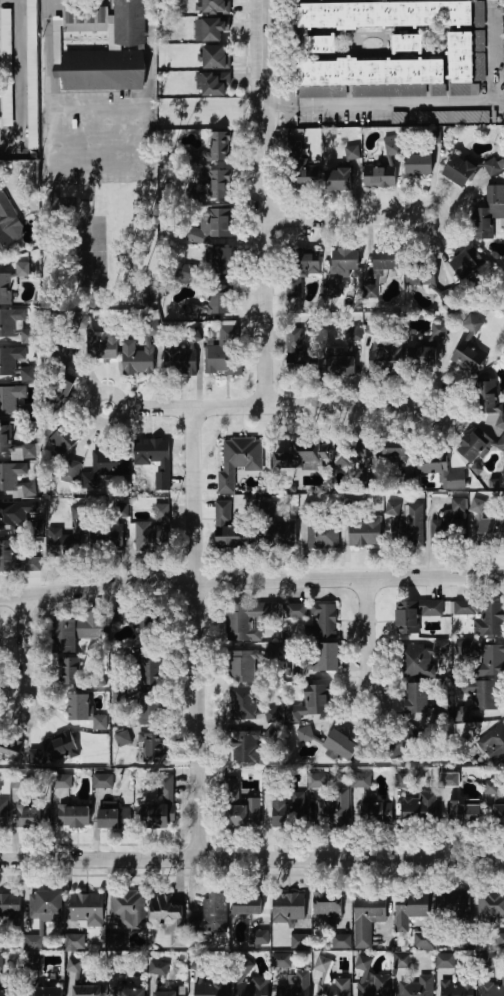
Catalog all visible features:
road: (19, 1)
building: (216, 7)
building: (68, 14)
building: (78, 14)
building: (90, 14)
building: (100, 14)
building: (388, 14)
building: (129, 22)
building: (215, 29)
building: (320, 44)
building: (216, 57)
building: (464, 64)
building: (7, 67)
building: (104, 70)
building: (32, 74)
building: (375, 74)
road: (21, 82)
building: (214, 83)
road: (422, 105)
road: (98, 109)
building: (457, 116)
building: (400, 117)
building: (296, 135)
building: (222, 150)
building: (298, 150)
building: (353, 152)
building: (420, 163)
building: (385, 166)
building: (492, 167)
building: (460, 171)
building: (304, 179)
building: (338, 179)
building: (219, 185)
road: (260, 204)
building: (488, 212)
road: (346, 218)
building: (6, 221)
building: (209, 226)
building: (387, 259)
building: (346, 260)
building: (222, 262)
building: (468, 262)
building: (23, 268)
building: (301, 270)
building: (189, 272)
building: (430, 281)
building: (5, 289)
building: (332, 291)
building: (448, 296)
building: (215, 300)
building: (15, 326)
building: (373, 329)
building: (441, 329)
building: (103, 346)
building: (469, 348)
building: (64, 351)
building: (224, 352)
building: (183, 355)
building: (389, 355)
building: (424, 356)
building: (10, 360)
building: (144, 361)
building: (342, 363)
building: (302, 364)
building: (27, 373)
building: (62, 387)
building: (9, 400)
building: (490, 404)
road: (267, 407)
building: (5, 435)
building: (67, 438)
building: (500, 443)
building: (474, 445)
building: (393, 448)
building: (304, 455)
building: (353, 457)
building: (241, 460)
building: (105, 465)
building: (152, 465)
building: (477, 468)
building: (70, 471)
building: (444, 474)
building: (15, 478)
building: (407, 480)
building: (457, 504)
building: (267, 506)
building: (392, 510)
building: (9, 515)
building: (487, 524)
building: (410, 526)
building: (231, 529)
building: (155, 530)
building: (448, 530)
building: (109, 531)
building: (323, 533)
building: (365, 533)
building: (284, 534)
building: (63, 541)
building: (16, 559)
road: (251, 579)
building: (414, 614)
building: (120, 616)
building: (483, 616)
building: (315, 618)
building: (247, 619)
building: (150, 623)
building: (77, 631)
road: (192, 634)
road: (367, 641)
road: (28, 649)
building: (120, 656)
building: (484, 656)
building: (329, 658)
building: (419, 658)
building: (241, 666)
building: (303, 667)
building: (151, 669)
building: (68, 671)
building: (482, 694)
building: (419, 698)
building: (242, 703)
building: (314, 705)
building: (147, 707)
building: (79, 710)
building: (462, 714)
building: (273, 715)
building: (100, 721)
building: (306, 734)
building: (126, 736)
building: (493, 740)
building: (399, 744)
building: (342, 745)
building: (10, 747)
building: (243, 747)
building: (61, 749)
building: (150, 751)
building: (35, 755)
building: (450, 779)
building: (360, 780)
building: (62, 781)
building: (102, 781)
building: (315, 781)
building: (405, 781)
building: (19, 782)
building: (492, 788)
building: (230, 791)
building: (160, 806)
building: (287, 808)
building: (420, 808)
building: (332, 809)
building: (376, 812)
building: (3, 814)
building: (464, 814)
building: (498, 815)
building: (74, 816)
building: (32, 817)
building: (236, 817)
building: (113, 819)
road: (252, 860)
building: (453, 904)
building: (45, 905)
building: (490, 905)
building: (329, 906)
building: (288, 907)
building: (88, 908)
building: (250, 908)
building: (11, 909)
building: (128, 909)
building: (410, 909)
building: (211, 915)
building: (168, 916)
building: (367, 916)
building: (258, 937)
building: (468, 939)
building: (424, 940)
building: (500, 940)
building: (35, 941)
building: (75, 941)
building: (117, 941)
building: (301, 941)
building: (342, 941)
building: (403, 959)
building: (282, 960)
building: (446, 960)
building: (489, 960)
building: (34, 962)
building: (74, 965)
building: (324, 967)
building: (158, 968)
building: (296, 985)
building: (375, 985)
building: (416, 986)
building: (334, 987)
building: (457, 987)
building: (210, 988)
building: (251, 988)
building: (493, 988)
building: (89, 990)
building: (47, 992)
building: (171, 992)
building: (10, 993)
building: (136, 995)

